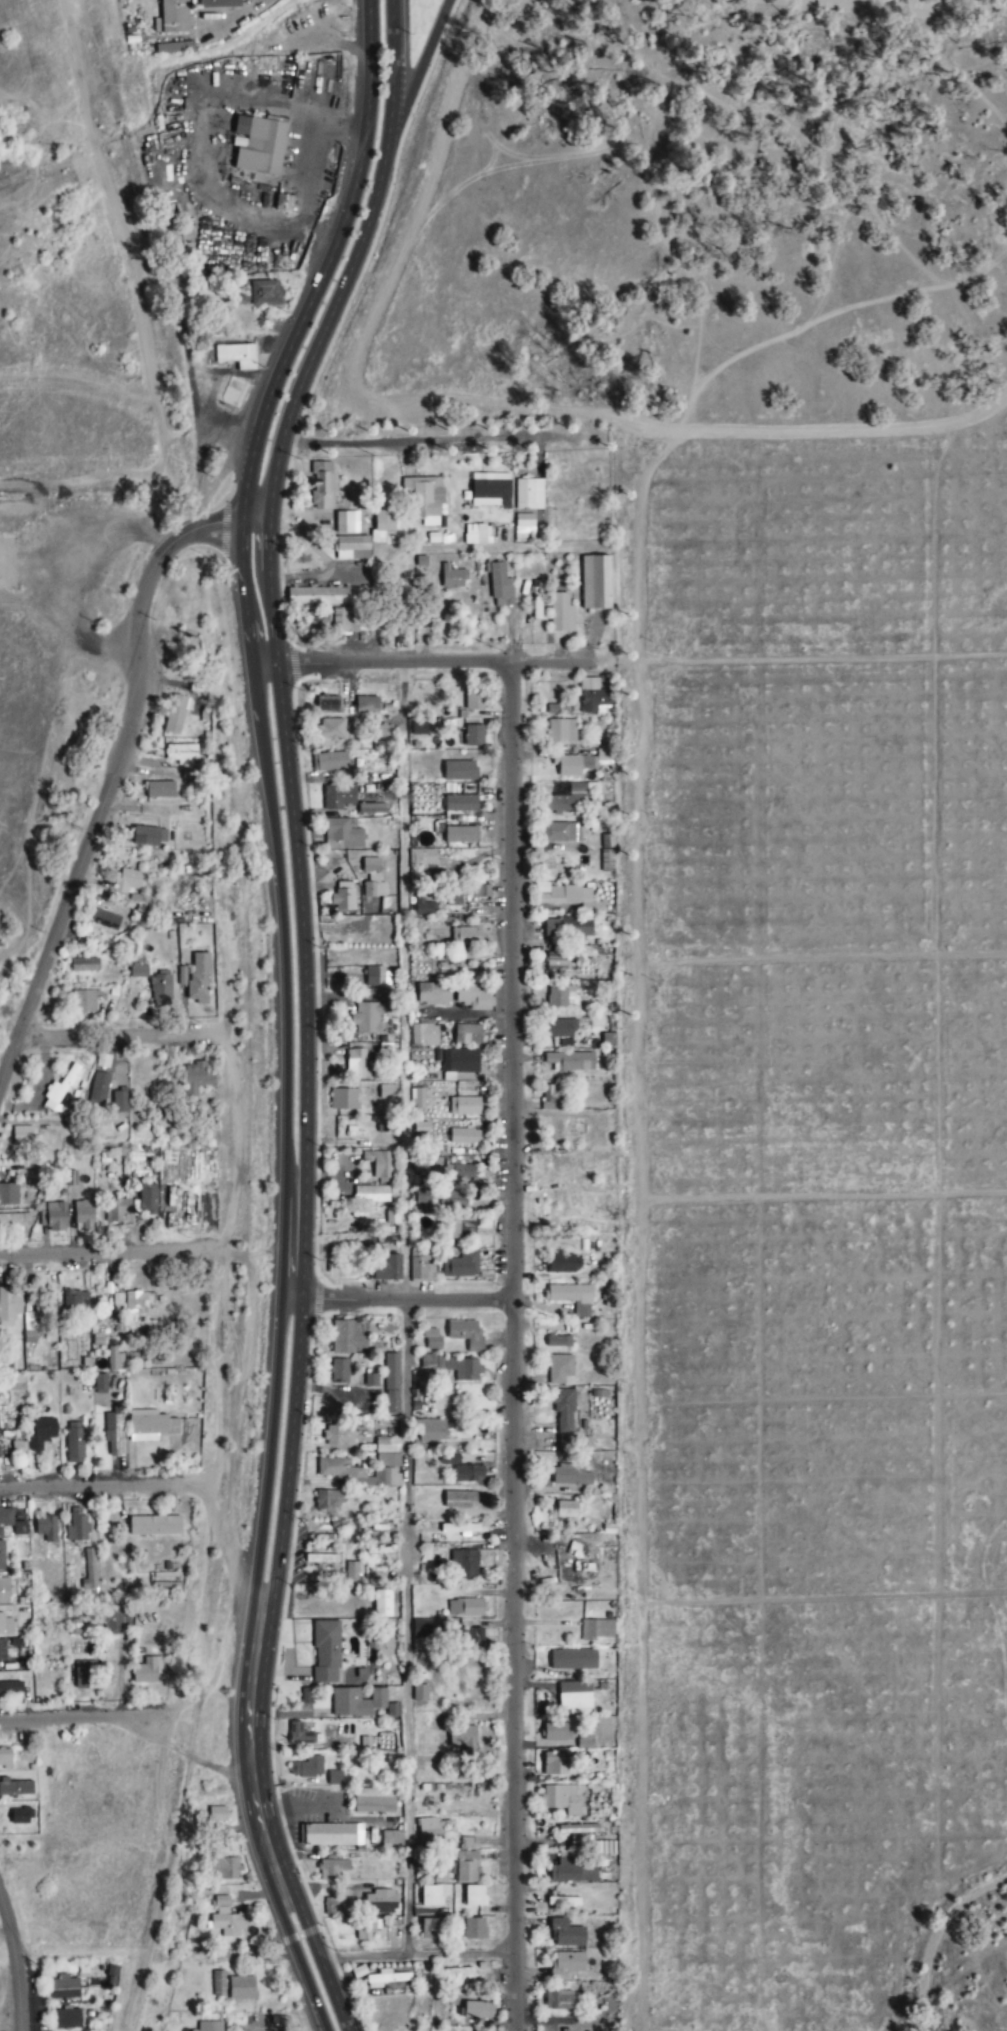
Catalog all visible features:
building: (219, 4)
building: (174, 17)
building: (174, 49)
railway: (103, 56)
road: (390, 56)
road: (423, 59)
building: (260, 146)
building: (283, 204)
building: (272, 260)
building: (265, 293)
building: (240, 296)
road: (295, 332)
building: (236, 355)
road: (432, 439)
building: (322, 486)
building: (490, 491)
railway: (56, 494)
building: (529, 495)
building: (425, 498)
building: (346, 522)
building: (524, 524)
building: (382, 526)
building: (477, 534)
building: (351, 548)
building: (452, 577)
building: (595, 582)
building: (499, 586)
building: (328, 596)
building: (561, 613)
building: (354, 619)
road: (273, 642)
road: (425, 662)
building: (593, 696)
building: (474, 699)
building: (327, 706)
building: (176, 714)
building: (330, 731)
building: (561, 731)
building: (383, 733)
building: (474, 736)
building: (181, 753)
building: (329, 762)
building: (583, 763)
road: (118, 767)
building: (460, 771)
building: (160, 789)
building: (339, 796)
building: (569, 800)
building: (461, 803)
building: (372, 809)
building: (561, 832)
building: (342, 834)
building: (460, 835)
building: (149, 836)
building: (422, 858)
building: (370, 865)
building: (129, 881)
building: (369, 890)
building: (480, 891)
building: (343, 897)
building: (453, 897)
building: (567, 897)
building: (423, 907)
building: (105, 920)
building: (568, 927)
road: (283, 928)
building: (466, 937)
building: (371, 959)
building: (558, 962)
building: (84, 965)
building: (138, 971)
building: (374, 977)
building: (199, 978)
building: (160, 989)
building: (433, 994)
building: (562, 996)
building: (472, 997)
building: (84, 1002)
building: (368, 1017)
building: (557, 1029)
building: (467, 1034)
building: (424, 1035)
road: (114, 1041)
building: (460, 1061)
building: (571, 1061)
building: (358, 1065)
building: (196, 1079)
road: (227, 1089)
building: (62, 1091)
building: (387, 1092)
building: (345, 1100)
building: (119, 1102)
building: (464, 1106)
building: (464, 1136)
building: (380, 1165)
building: (461, 1169)
building: (371, 1194)
building: (8, 1195)
building: (423, 1197)
building: (148, 1202)
building: (117, 1212)
building: (53, 1217)
building: (83, 1217)
building: (14, 1221)
building: (467, 1229)
road: (292, 1245)
road: (96, 1256)
building: (358, 1263)
building: (563, 1264)
building: (461, 1266)
building: (387, 1269)
building: (421, 1269)
road: (402, 1298)
building: (572, 1299)
building: (75, 1300)
building: (139, 1302)
building: (9, 1304)
railway: (241, 1304)
building: (466, 1335)
building: (348, 1336)
building: (432, 1340)
building: (558, 1342)
road: (515, 1346)
building: (114, 1360)
building: (427, 1360)
building: (463, 1369)
building: (560, 1369)
building: (339, 1371)
building: (391, 1372)
building: (100, 1384)
building: (391, 1402)
building: (564, 1410)
building: (149, 1426)
building: (430, 1431)
building: (113, 1432)
building: (339, 1436)
building: (40, 1437)
building: (74, 1442)
building: (385, 1442)
building: (566, 1443)
road: (269, 1449)
road: (288, 1451)
building: (390, 1460)
building: (357, 1474)
building: (468, 1474)
building: (571, 1475)
road: (86, 1487)
building: (327, 1500)
building: (458, 1500)
building: (569, 1510)
building: (5, 1519)
building: (77, 1526)
building: (154, 1526)
building: (46, 1528)
building: (459, 1529)
building: (2, 1556)
building: (463, 1566)
building: (353, 1573)
building: (5, 1591)
building: (383, 1604)
building: (466, 1608)
building: (115, 1621)
building: (5, 1626)
building: (421, 1629)
building: (596, 1630)
building: (471, 1640)
building: (12, 1652)
building: (326, 1652)
building: (573, 1660)
building: (147, 1671)
building: (85, 1675)
building: (11, 1688)
building: (420, 1693)
building: (574, 1696)
building: (306, 1697)
building: (356, 1703)
building: (392, 1711)
road: (79, 1719)
building: (302, 1733)
building: (556, 1733)
building: (463, 1738)
road: (248, 1752)
road: (185, 1754)
building: (5, 1759)
building: (557, 1765)
building: (307, 1768)
building: (334, 1778)
building: (15, 1788)
building: (562, 1799)
building: (373, 1802)
building: (20, 1817)
building: (578, 1829)
building: (428, 1830)
building: (333, 1836)
building: (580, 1838)
building: (467, 1843)
building: (465, 1867)
building: (225, 1869)
building: (332, 1869)
building: (571, 1870)
building: (440, 1874)
building: (431, 1896)
building: (474, 1896)
building: (562, 1901)
building: (380, 1902)
building: (226, 1919)
building: (366, 1928)
building: (475, 1928)
building: (431, 1929)
building: (567, 1935)
road: (417, 1955)
road: (320, 1962)
building: (566, 1964)
road: (14, 1966)
road: (301, 1966)
building: (458, 1976)
building: (386, 1979)
building: (218, 1983)
building: (241, 1988)
building: (65, 1989)
building: (560, 2000)
building: (477, 2010)
building: (67, 2018)
building: (209, 2026)
building: (479, 2029)

